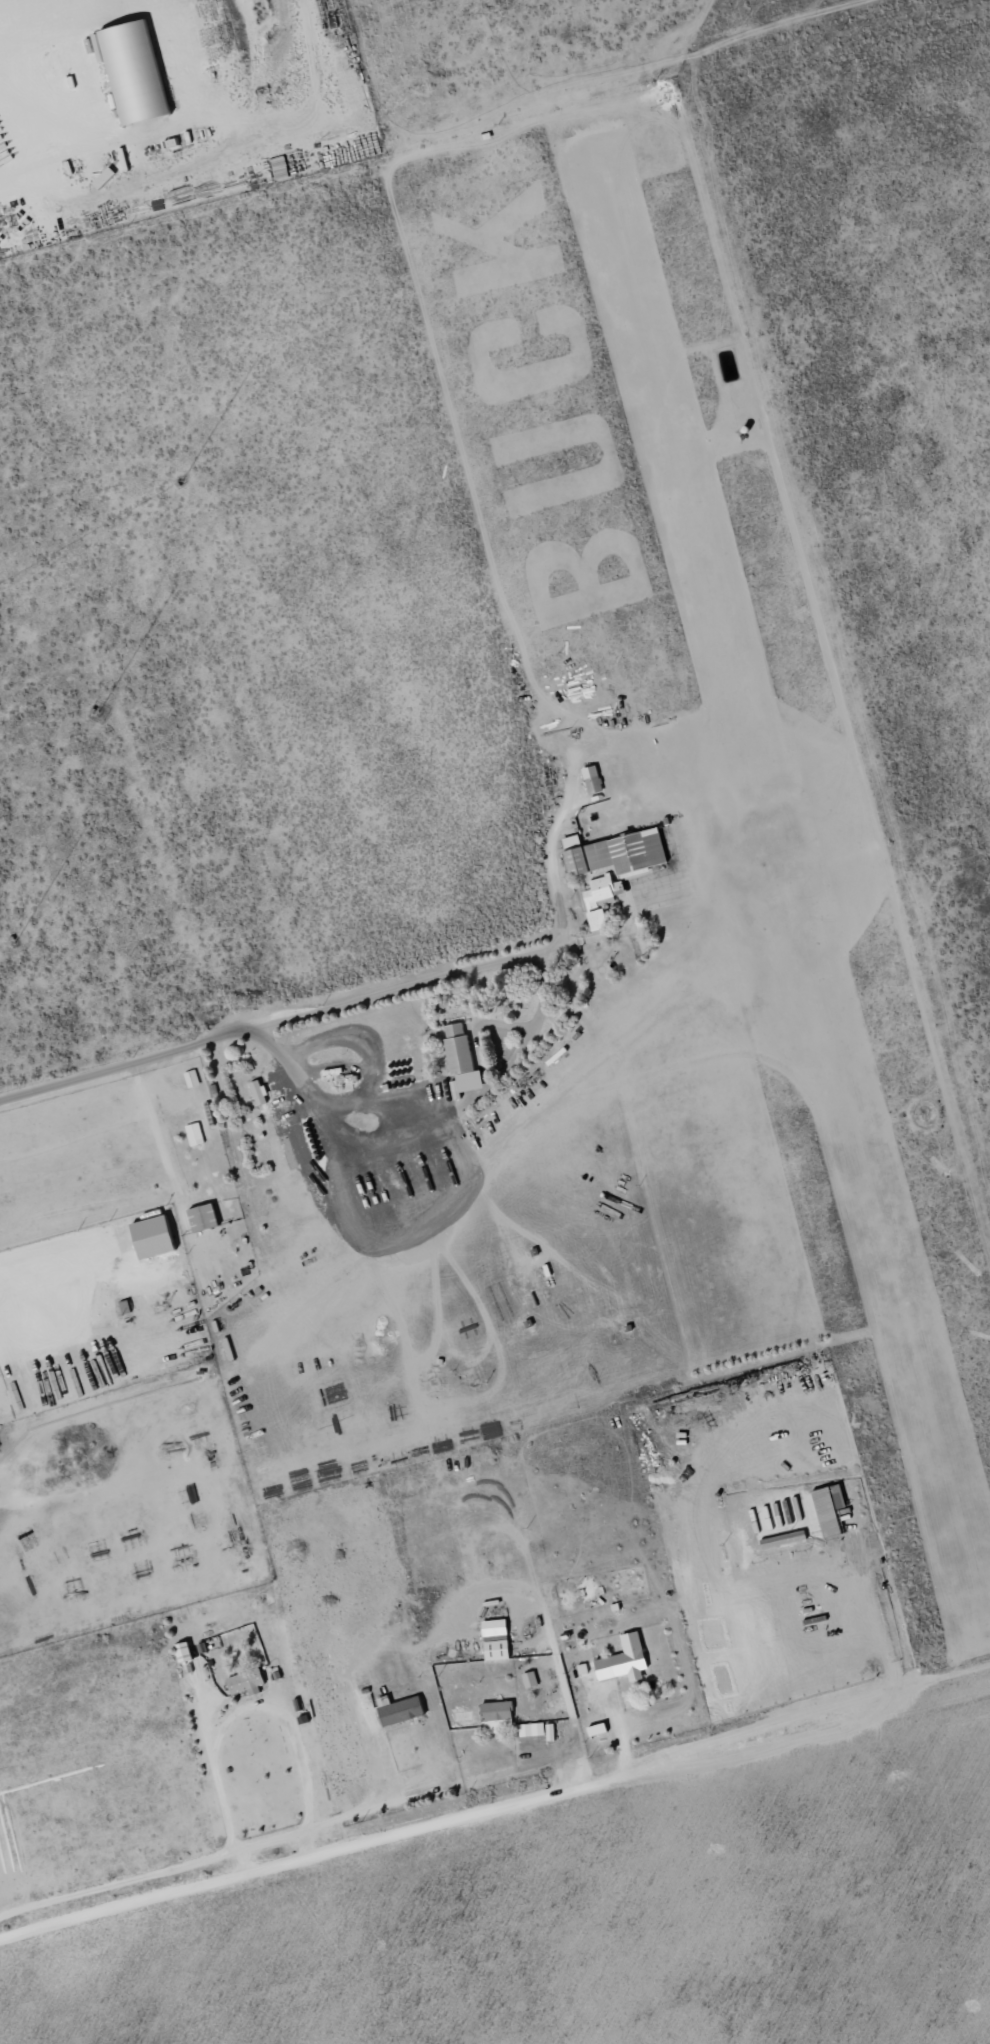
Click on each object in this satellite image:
building: (138, 70)
road: (482, 131)
building: (596, 783)
building: (620, 853)
building: (603, 901)
road: (317, 1012)
building: (464, 1061)
building: (193, 1078)
road: (320, 1101)
building: (196, 1134)
building: (207, 1218)
building: (159, 1237)
road: (80, 1284)
building: (127, 1307)
building: (833, 1509)
building: (499, 1639)
building: (628, 1659)
building: (532, 1679)
building: (249, 1680)
building: (405, 1710)
building: (500, 1716)
building: (534, 1729)
building: (553, 1732)
road: (420, 1824)

